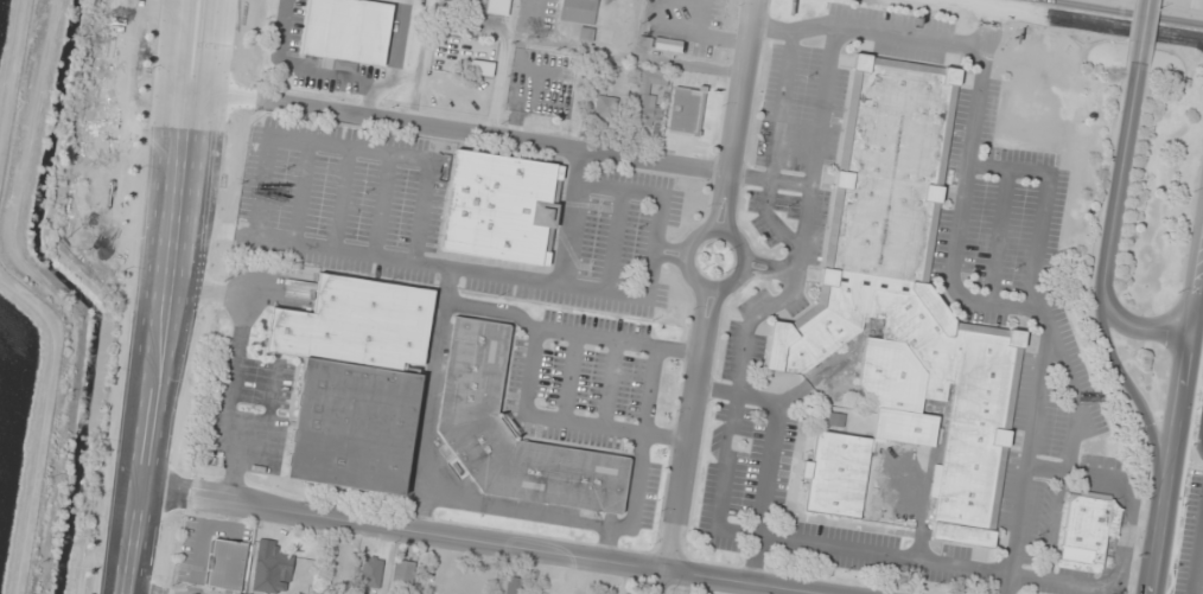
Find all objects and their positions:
road: (1037, 5)
building: (497, 7)
building: (580, 11)
road: (1096, 15)
building: (348, 31)
road: (1141, 32)
wastewater plant: (5, 33)
building: (482, 69)
road: (738, 90)
building: (648, 96)
building: (606, 109)
building: (686, 110)
road: (458, 133)
building: (494, 204)
road: (714, 206)
road: (728, 207)
road: (1107, 229)
road: (701, 283)
building: (906, 294)
road: (165, 296)
road: (698, 306)
road: (712, 308)
building: (355, 322)
road: (1141, 407)
road: (1175, 415)
wastewater plant: (14, 424)
building: (351, 426)
building: (514, 433)
road: (1202, 443)
road: (685, 452)
building: (834, 470)
building: (1087, 531)
road: (463, 541)
road: (1196, 550)
building: (272, 562)
building: (227, 566)
building: (374, 568)
building: (403, 573)
road: (666, 583)
building: (513, 586)
road: (170, 592)

